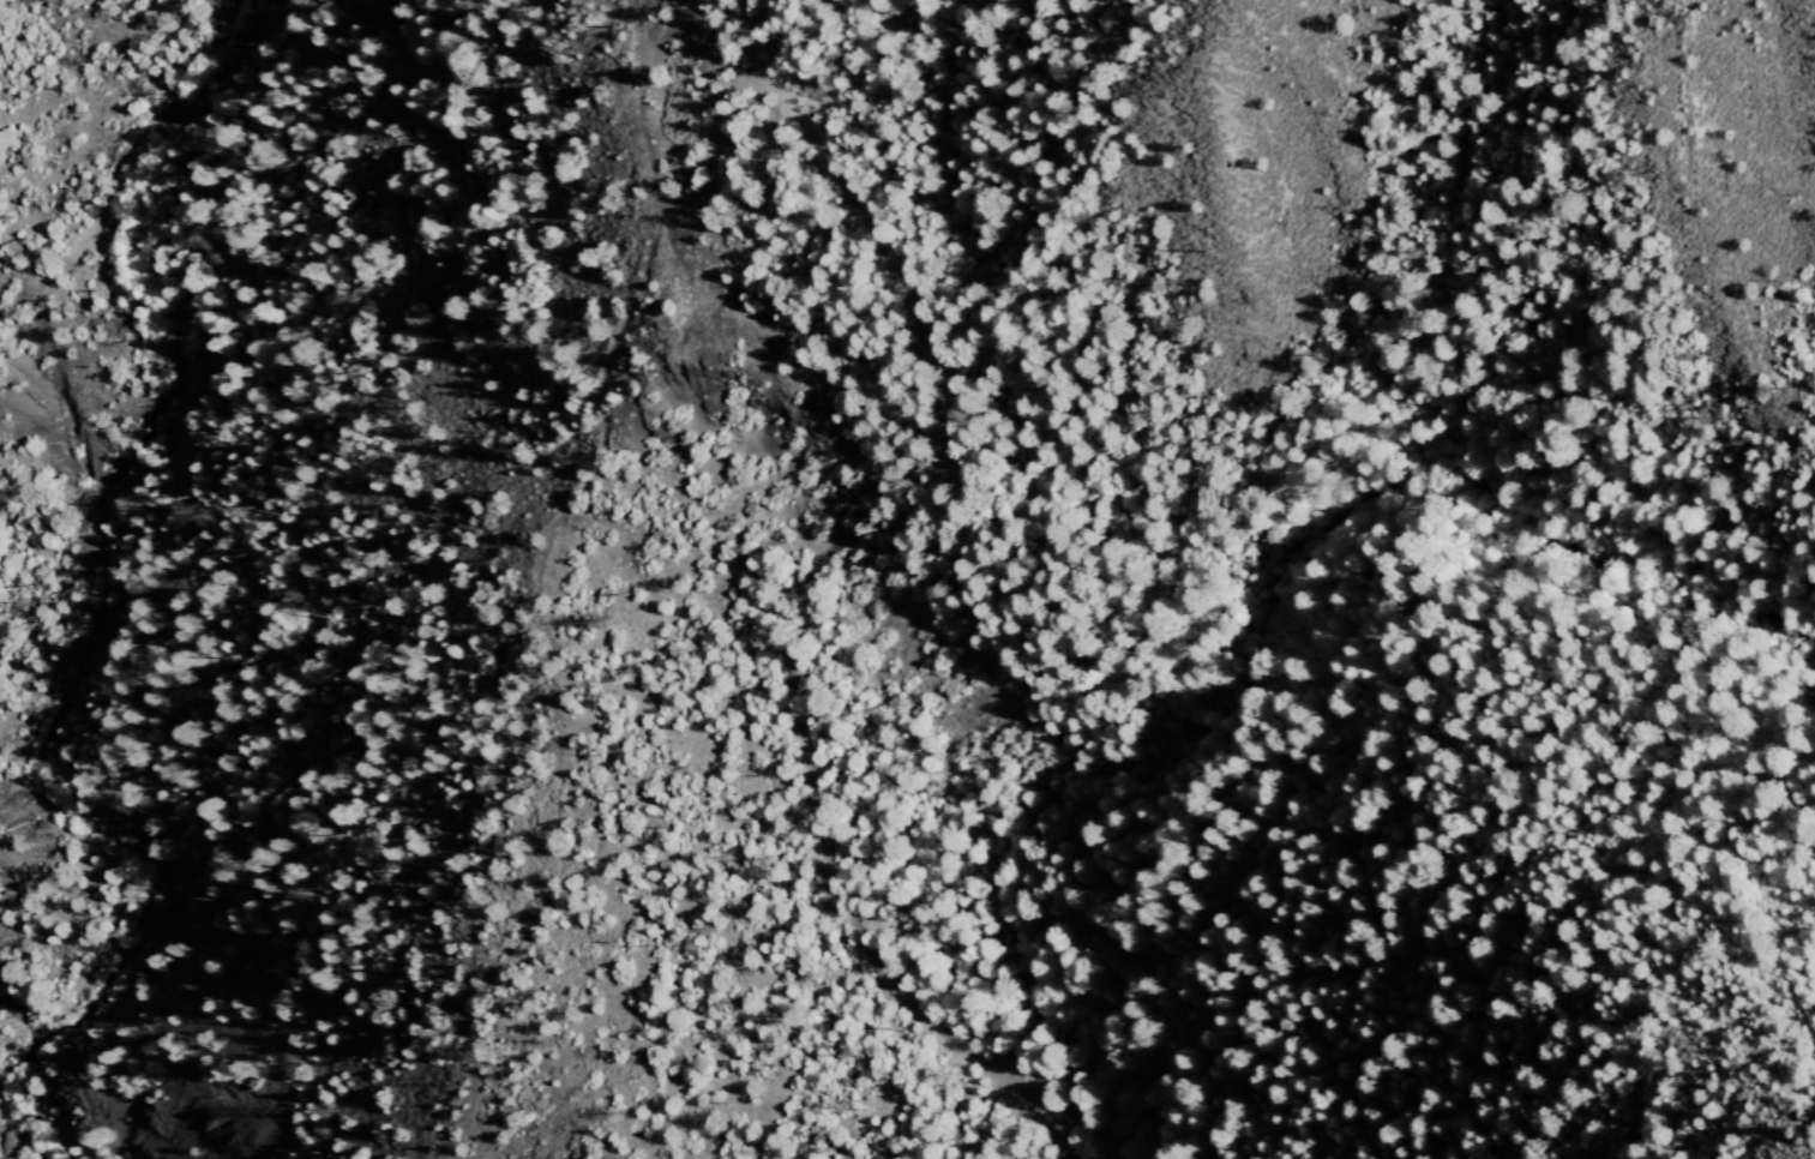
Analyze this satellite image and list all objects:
road: (596, 30)
road: (1661, 212)
road: (453, 452)
road: (859, 545)
road: (1183, 1013)

